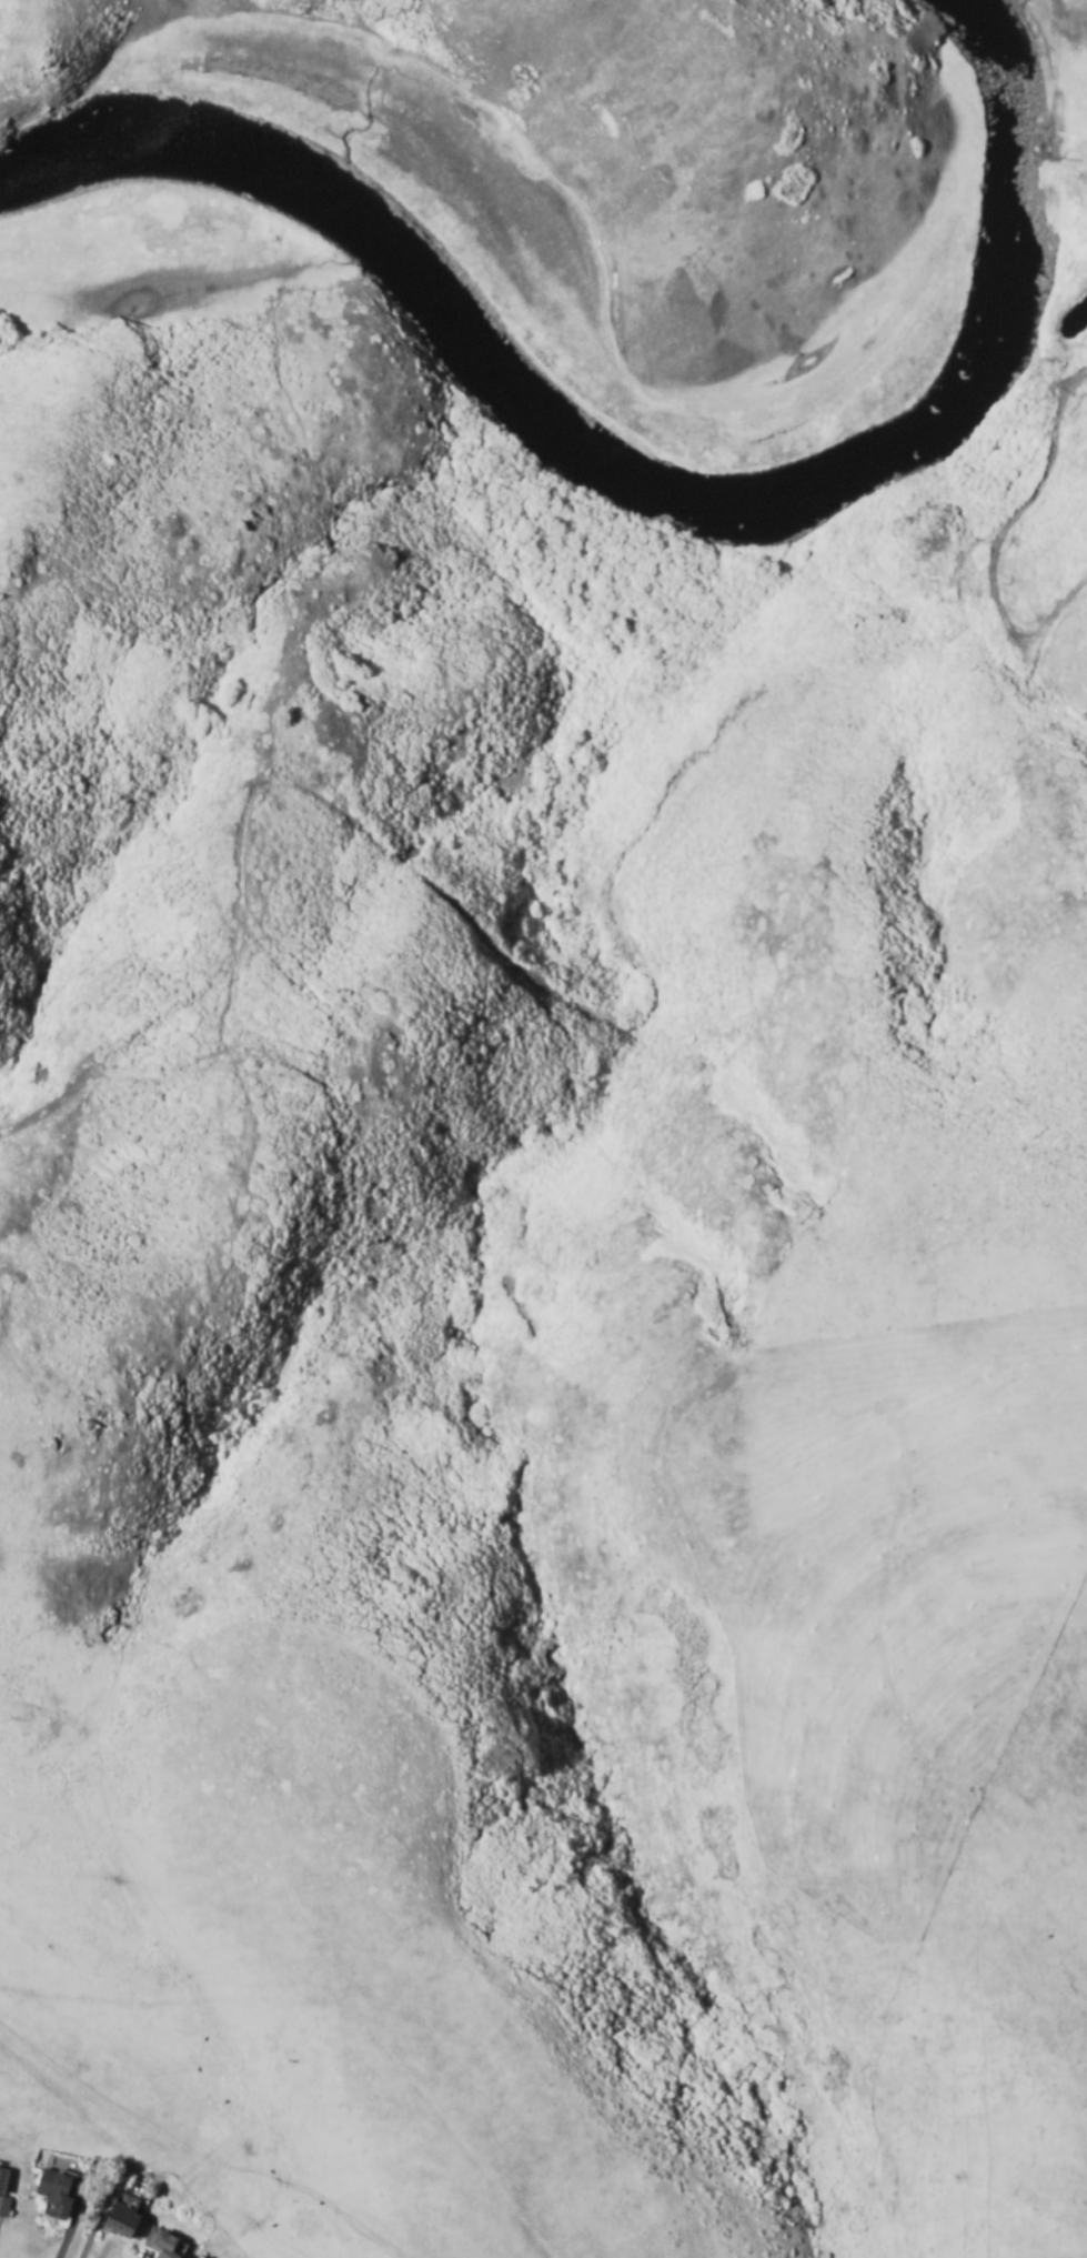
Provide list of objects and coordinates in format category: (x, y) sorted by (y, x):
road: (68, 2101)
building: (3, 2191)
building: (57, 2194)
building: (127, 2220)
road: (71, 2234)
road: (90, 2241)
building: (164, 2244)

